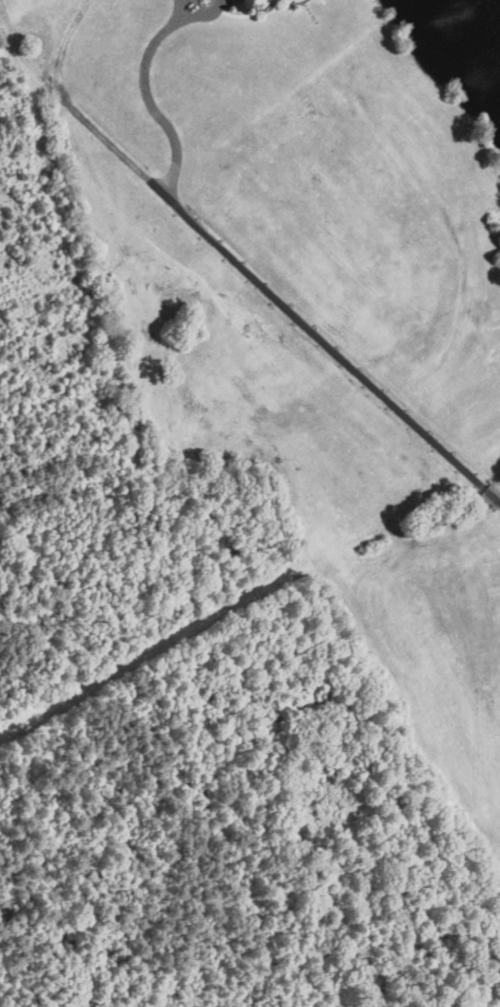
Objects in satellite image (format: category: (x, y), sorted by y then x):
road: (247, 273)

